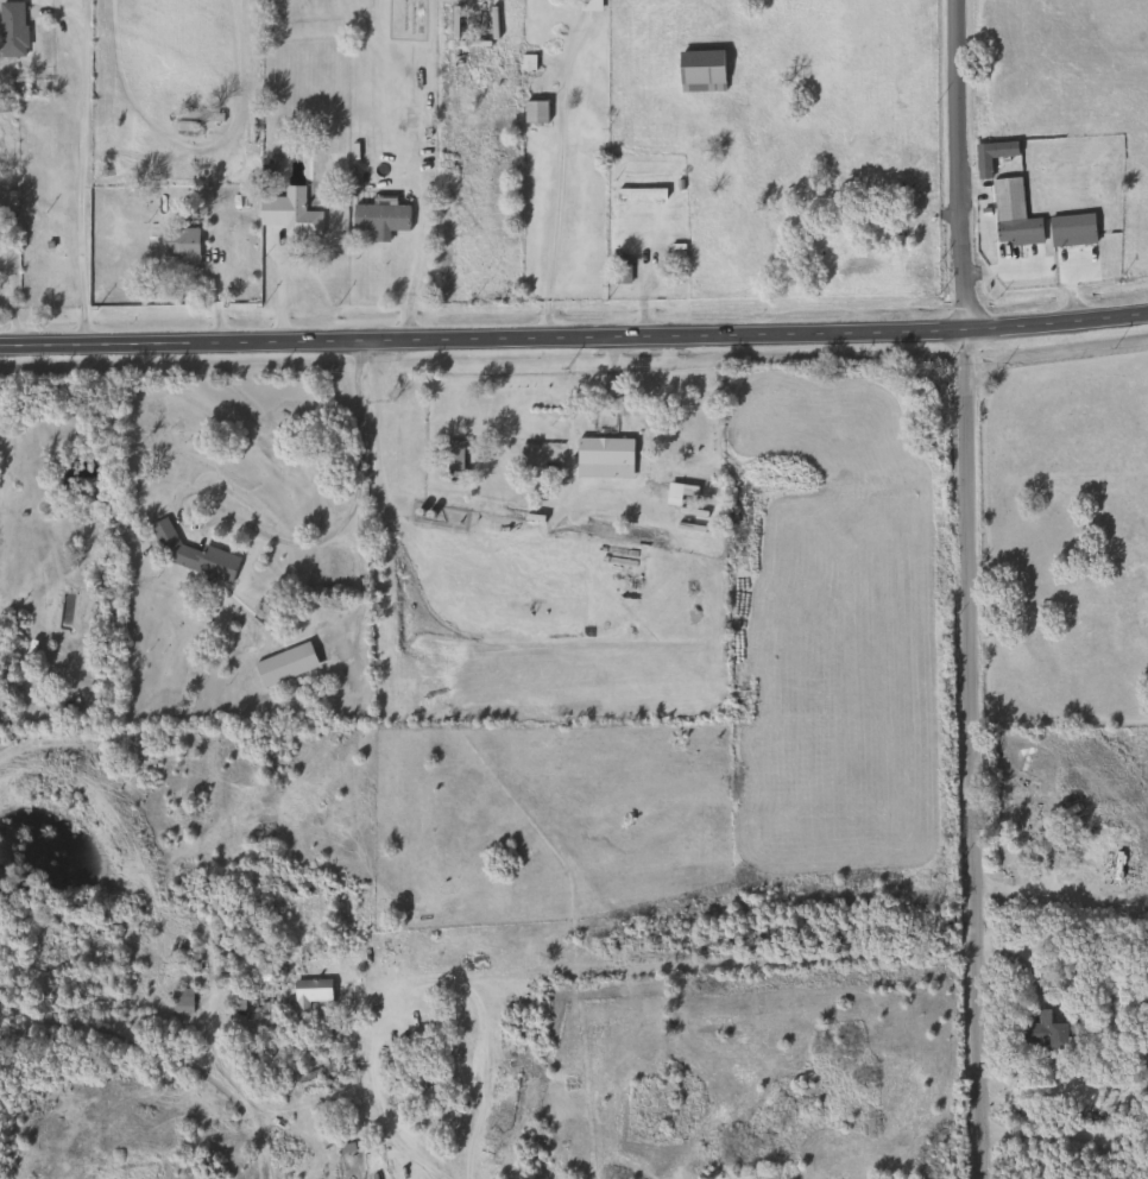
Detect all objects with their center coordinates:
building: (585, 5)
building: (11, 30)
building: (698, 71)
building: (531, 112)
road: (81, 174)
road: (556, 181)
building: (636, 194)
building: (295, 215)
building: (1009, 215)
building: (376, 216)
building: (1067, 229)
building: (176, 245)
road: (997, 267)
building: (617, 272)
road: (411, 278)
road: (574, 336)
building: (386, 427)
building: (600, 452)
building: (454, 459)
road: (351, 512)
building: (189, 555)
road: (963, 589)
road: (1058, 896)
building: (308, 992)
building: (177, 1001)
building: (1039, 1032)
road: (1060, 1137)
building: (385, 1150)

